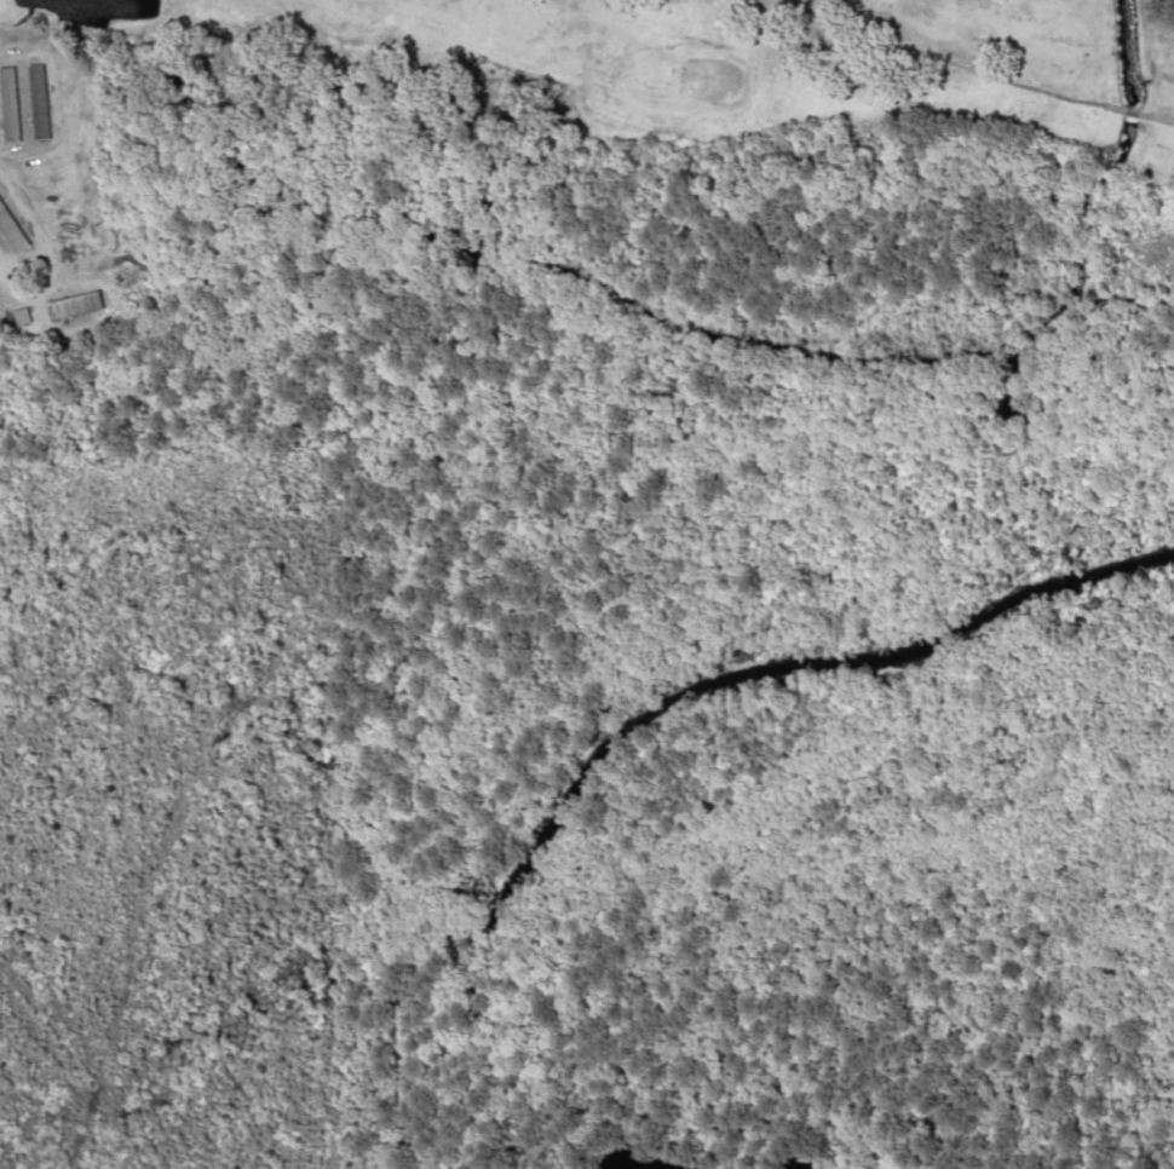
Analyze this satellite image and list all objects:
building: (35, 102)
building: (6, 106)
building: (10, 232)
park: (68, 292)
building: (70, 305)

